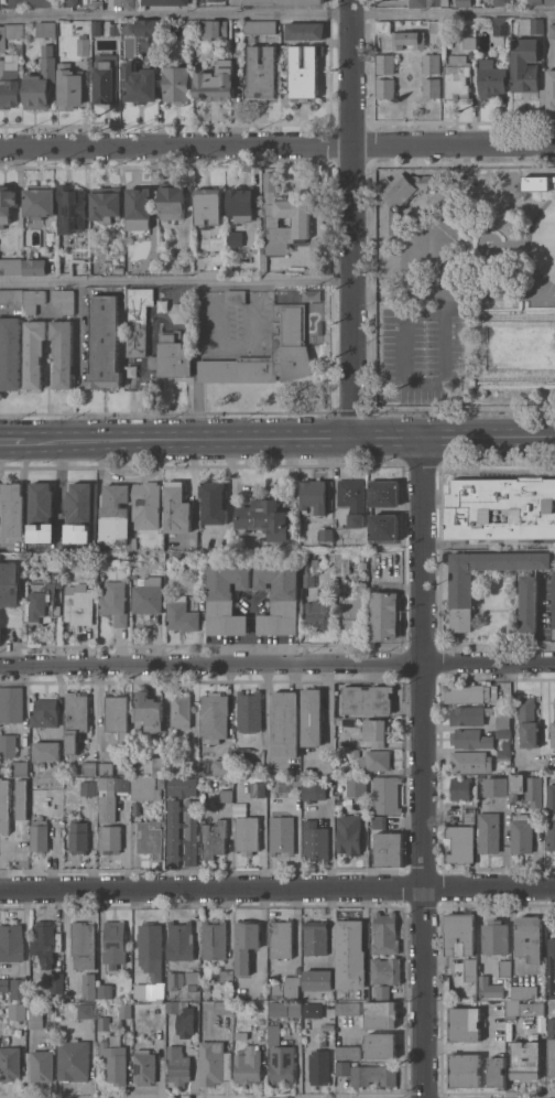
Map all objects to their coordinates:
building: (215, 0)
building: (285, 1)
building: (67, 2)
building: (166, 2)
building: (437, 2)
building: (501, 2)
building: (535, 2)
building: (549, 2)
building: (14, 3)
building: (40, 3)
building: (124, 3)
building: (417, 3)
building: (463, 3)
building: (97, 4)
road: (276, 12)
building: (259, 26)
building: (383, 26)
building: (435, 26)
building: (501, 26)
building: (536, 26)
building: (96, 28)
building: (146, 28)
building: (45, 29)
building: (214, 29)
building: (115, 30)
building: (552, 30)
building: (13, 31)
building: (305, 31)
building: (1, 36)
building: (407, 40)
building: (469, 42)
building: (83, 46)
building: (385, 64)
building: (431, 64)
building: (524, 65)
building: (262, 73)
building: (304, 73)
building: (457, 77)
building: (492, 78)
building: (106, 79)
building: (9, 80)
building: (41, 82)
building: (215, 82)
building: (140, 84)
building: (176, 84)
building: (69, 87)
building: (431, 87)
building: (385, 88)
building: (551, 89)
road: (276, 148)
building: (535, 182)
building: (404, 195)
building: (173, 198)
building: (39, 201)
building: (7, 204)
building: (107, 204)
building: (240, 205)
building: (140, 206)
building: (208, 206)
building: (70, 208)
road: (349, 217)
building: (301, 224)
building: (233, 238)
road: (526, 244)
building: (487, 245)
road: (439, 250)
building: (11, 266)
building: (35, 267)
building: (77, 270)
building: (119, 270)
road: (174, 281)
road: (451, 293)
building: (235, 297)
building: (12, 298)
building: (33, 300)
building: (64, 300)
building: (138, 320)
building: (289, 324)
building: (320, 327)
building: (104, 343)
road: (236, 346)
building: (34, 353)
building: (62, 353)
building: (10, 354)
building: (172, 357)
road: (412, 383)
road: (295, 435)
road: (18, 441)
building: (384, 493)
building: (314, 497)
building: (352, 499)
building: (214, 502)
building: (14, 508)
building: (177, 508)
building: (500, 508)
building: (42, 513)
building: (80, 513)
building: (265, 519)
building: (117, 523)
building: (384, 527)
building: (326, 534)
building: (175, 557)
building: (341, 562)
building: (306, 566)
building: (362, 566)
building: (10, 584)
building: (461, 588)
building: (323, 593)
building: (279, 595)
building: (148, 596)
building: (226, 596)
building: (45, 599)
building: (115, 602)
building: (79, 605)
building: (353, 609)
building: (318, 614)
building: (384, 615)
building: (181, 616)
road: (251, 628)
road: (277, 657)
building: (471, 692)
building: (368, 700)
building: (11, 704)
building: (554, 704)
building: (181, 710)
building: (149, 711)
building: (249, 711)
building: (44, 713)
building: (117, 715)
building: (469, 715)
building: (215, 717)
building: (312, 718)
building: (76, 719)
building: (503, 720)
building: (347, 722)
building: (527, 722)
building: (285, 724)
building: (376, 731)
building: (503, 733)
building: (553, 733)
building: (471, 739)
building: (8, 745)
building: (507, 745)
building: (45, 752)
building: (353, 753)
building: (503, 754)
road: (553, 758)
building: (376, 761)
building: (470, 762)
road: (423, 766)
building: (89, 767)
building: (222, 767)
building: (254, 767)
building: (21, 768)
building: (106, 768)
building: (512, 769)
building: (159, 771)
building: (279, 782)
building: (181, 786)
building: (216, 786)
building: (258, 786)
building: (357, 786)
building: (497, 786)
building: (88, 788)
building: (144, 788)
building: (460, 789)
building: (527, 789)
building: (314, 792)
building: (228, 795)
building: (385, 795)
building: (110, 796)
building: (21, 798)
building: (338, 801)
building: (270, 804)
building: (4, 806)
building: (469, 812)
building: (551, 817)
building: (379, 822)
building: (173, 832)
building: (191, 832)
building: (489, 832)
building: (40, 835)
building: (247, 835)
building: (282, 835)
building: (349, 835)
building: (522, 835)
building: (78, 837)
building: (110, 838)
building: (150, 838)
building: (214, 839)
building: (314, 840)
building: (460, 844)
building: (389, 849)
road: (277, 887)
building: (384, 934)
building: (459, 934)
building: (496, 937)
building: (530, 937)
building: (281, 938)
building: (315, 938)
building: (215, 940)
building: (179, 941)
building: (11, 943)
building: (43, 943)
building: (115, 944)
building: (246, 944)
building: (83, 945)
building: (350, 956)
building: (151, 961)
building: (551, 965)
building: (504, 968)
building: (470, 970)
building: (385, 971)
building: (226, 976)
building: (193, 977)
building: (175, 980)
building: (318, 980)
building: (56, 982)
building: (89, 984)
building: (4, 986)
building: (193, 987)
building: (19, 988)
building: (287, 988)
building: (489, 988)
building: (107, 991)
building: (382, 992)
building: (512, 1001)
building: (173, 1006)
building: (224, 1008)
building: (285, 1009)
building: (347, 1009)
building: (17, 1011)
building: (84, 1011)
building: (124, 1011)
building: (313, 1011)
building: (34, 1012)
building: (381, 1014)
building: (260, 1021)
building: (185, 1023)
building: (464, 1023)
building: (35, 1024)
building: (104, 1024)
building: (541, 1024)
building: (241, 1035)
building: (273, 1035)
building: (380, 1045)
building: (551, 1047)
building: (348, 1053)
building: (74, 1059)
building: (525, 1061)
building: (115, 1062)
building: (10, 1063)
building: (214, 1063)
building: (281, 1064)
building: (248, 1065)
building: (42, 1066)
building: (178, 1066)
building: (144, 1067)
building: (319, 1067)
building: (342, 1068)
building: (464, 1070)
building: (497, 1073)
building: (373, 1076)

